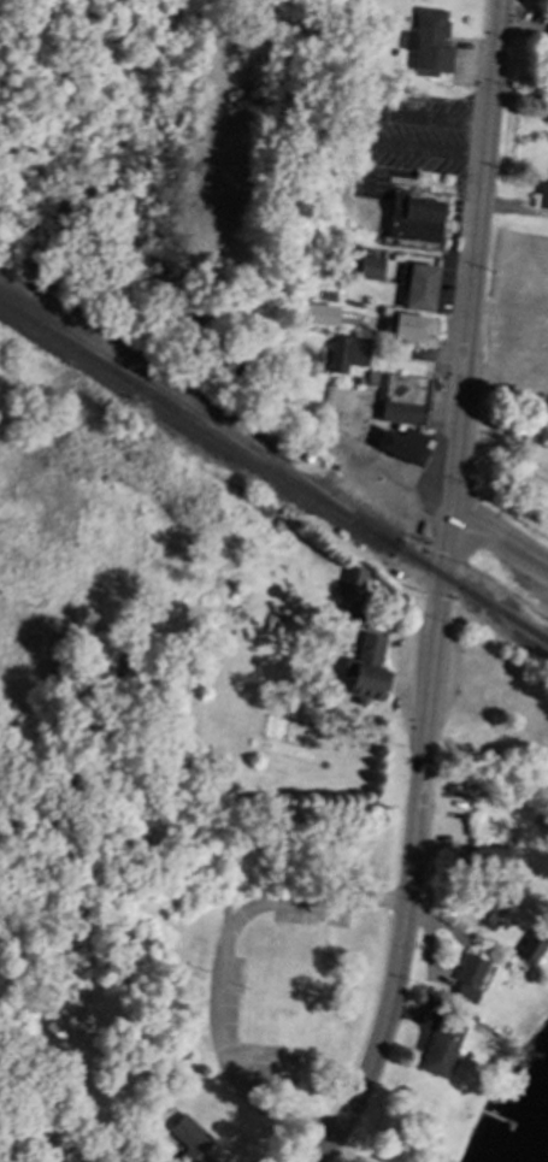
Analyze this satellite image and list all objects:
building: (426, 41)
building: (544, 111)
building: (541, 193)
building: (413, 218)
road: (472, 256)
building: (371, 269)
building: (419, 284)
building: (328, 294)
building: (319, 312)
building: (412, 325)
building: (346, 352)
building: (399, 396)
railway: (198, 409)
building: (401, 444)
building: (305, 456)
railway: (273, 472)
road: (497, 541)
building: (350, 582)
building: (366, 668)
road: (414, 845)
building: (489, 856)
building: (489, 908)
building: (529, 946)
building: (469, 968)
road: (220, 971)
building: (464, 992)
building: (65, 1021)
building: (440, 1044)
building: (188, 1138)

